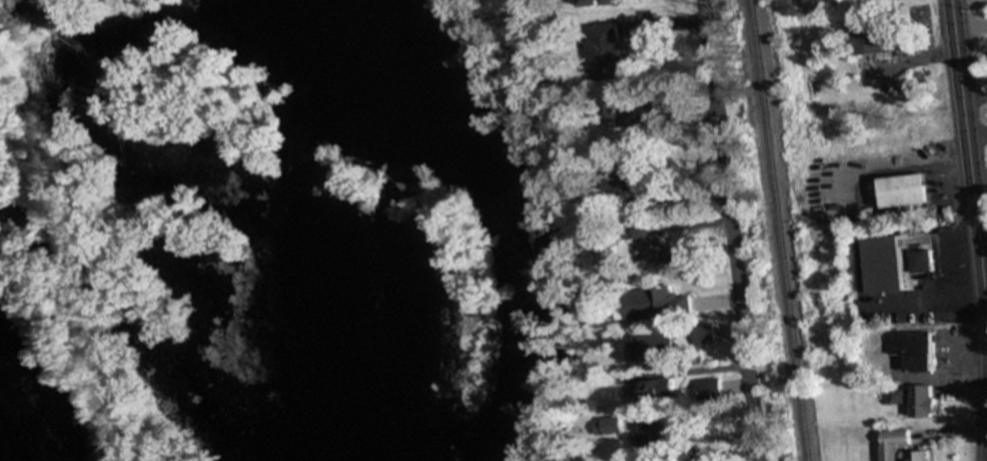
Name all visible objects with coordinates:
building: (601, 2)
building: (876, 40)
building: (605, 47)
building: (631, 113)
road: (970, 161)
building: (899, 191)
road: (728, 230)
railway: (775, 230)
building: (657, 245)
building: (918, 261)
building: (879, 264)
building: (655, 303)
building: (702, 338)
building: (656, 345)
building: (912, 350)
building: (708, 390)
building: (656, 391)
building: (895, 398)
building: (918, 401)
building: (653, 434)
building: (890, 443)
building: (915, 456)
building: (689, 460)

